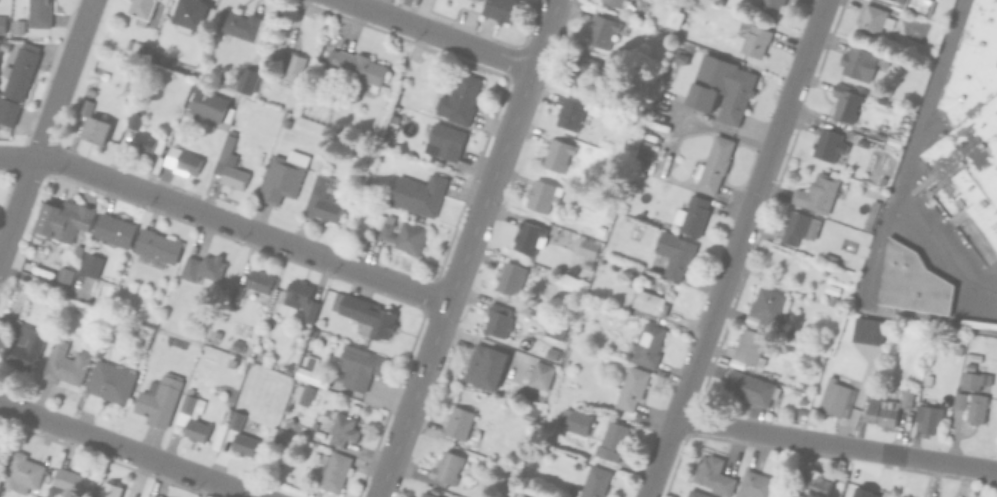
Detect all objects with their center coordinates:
building: (478, 0)
building: (900, 0)
building: (895, 1)
building: (620, 3)
building: (915, 6)
building: (770, 7)
road: (365, 9)
building: (500, 9)
building: (139, 11)
building: (38, 14)
building: (188, 15)
building: (674, 19)
road: (817, 20)
building: (869, 21)
building: (1, 25)
building: (240, 25)
building: (17, 27)
building: (601, 31)
road: (544, 35)
building: (752, 36)
road: (461, 44)
building: (3, 45)
building: (683, 45)
building: (136, 48)
building: (679, 58)
building: (856, 63)
building: (291, 64)
building: (357, 69)
building: (19, 72)
building: (583, 73)
building: (227, 81)
building: (246, 81)
building: (721, 89)
building: (882, 91)
building: (459, 101)
building: (844, 103)
building: (206, 106)
building: (84, 107)
building: (8, 112)
building: (570, 114)
building: (132, 118)
road: (46, 127)
building: (391, 128)
building: (969, 129)
building: (95, 130)
building: (893, 138)
building: (443, 142)
building: (141, 144)
building: (860, 144)
building: (828, 146)
building: (557, 154)
building: (168, 155)
building: (186, 163)
building: (227, 164)
building: (713, 166)
road: (905, 168)
building: (282, 176)
building: (819, 192)
building: (418, 194)
building: (542, 195)
building: (321, 201)
building: (871, 214)
building: (693, 216)
building: (62, 219)
road: (225, 224)
building: (799, 228)
building: (113, 230)
building: (400, 233)
building: (529, 237)
building: (156, 246)
building: (588, 248)
building: (36, 253)
building: (676, 253)
building: (91, 264)
building: (587, 264)
building: (202, 266)
road: (726, 268)
building: (64, 274)
building: (512, 278)
building: (259, 280)
road: (455, 283)
building: (911, 285)
building: (832, 289)
building: (237, 292)
building: (300, 297)
building: (831, 301)
building: (16, 304)
building: (652, 304)
building: (766, 309)
building: (365, 315)
building: (498, 319)
building: (555, 329)
building: (870, 330)
building: (24, 345)
building: (648, 345)
building: (749, 346)
building: (971, 356)
building: (488, 363)
building: (64, 365)
building: (359, 366)
building: (312, 372)
building: (539, 378)
building: (926, 378)
building: (972, 379)
building: (110, 381)
building: (632, 388)
building: (750, 388)
building: (305, 395)
building: (907, 396)
building: (835, 398)
building: (159, 399)
building: (957, 399)
building: (973, 407)
building: (881, 412)
building: (192, 416)
building: (238, 416)
building: (528, 416)
building: (925, 418)
building: (575, 420)
building: (458, 422)
building: (342, 425)
building: (316, 434)
building: (612, 441)
building: (244, 443)
road: (835, 444)
building: (1, 450)
road: (125, 452)
building: (449, 467)
building: (335, 471)
building: (21, 472)
building: (713, 474)
building: (593, 483)
building: (70, 484)
building: (755, 484)
building: (815, 484)
building: (110, 489)
building: (697, 493)
building: (427, 494)
building: (532, 494)
building: (153, 495)
building: (499, 496)
building: (900, 496)

